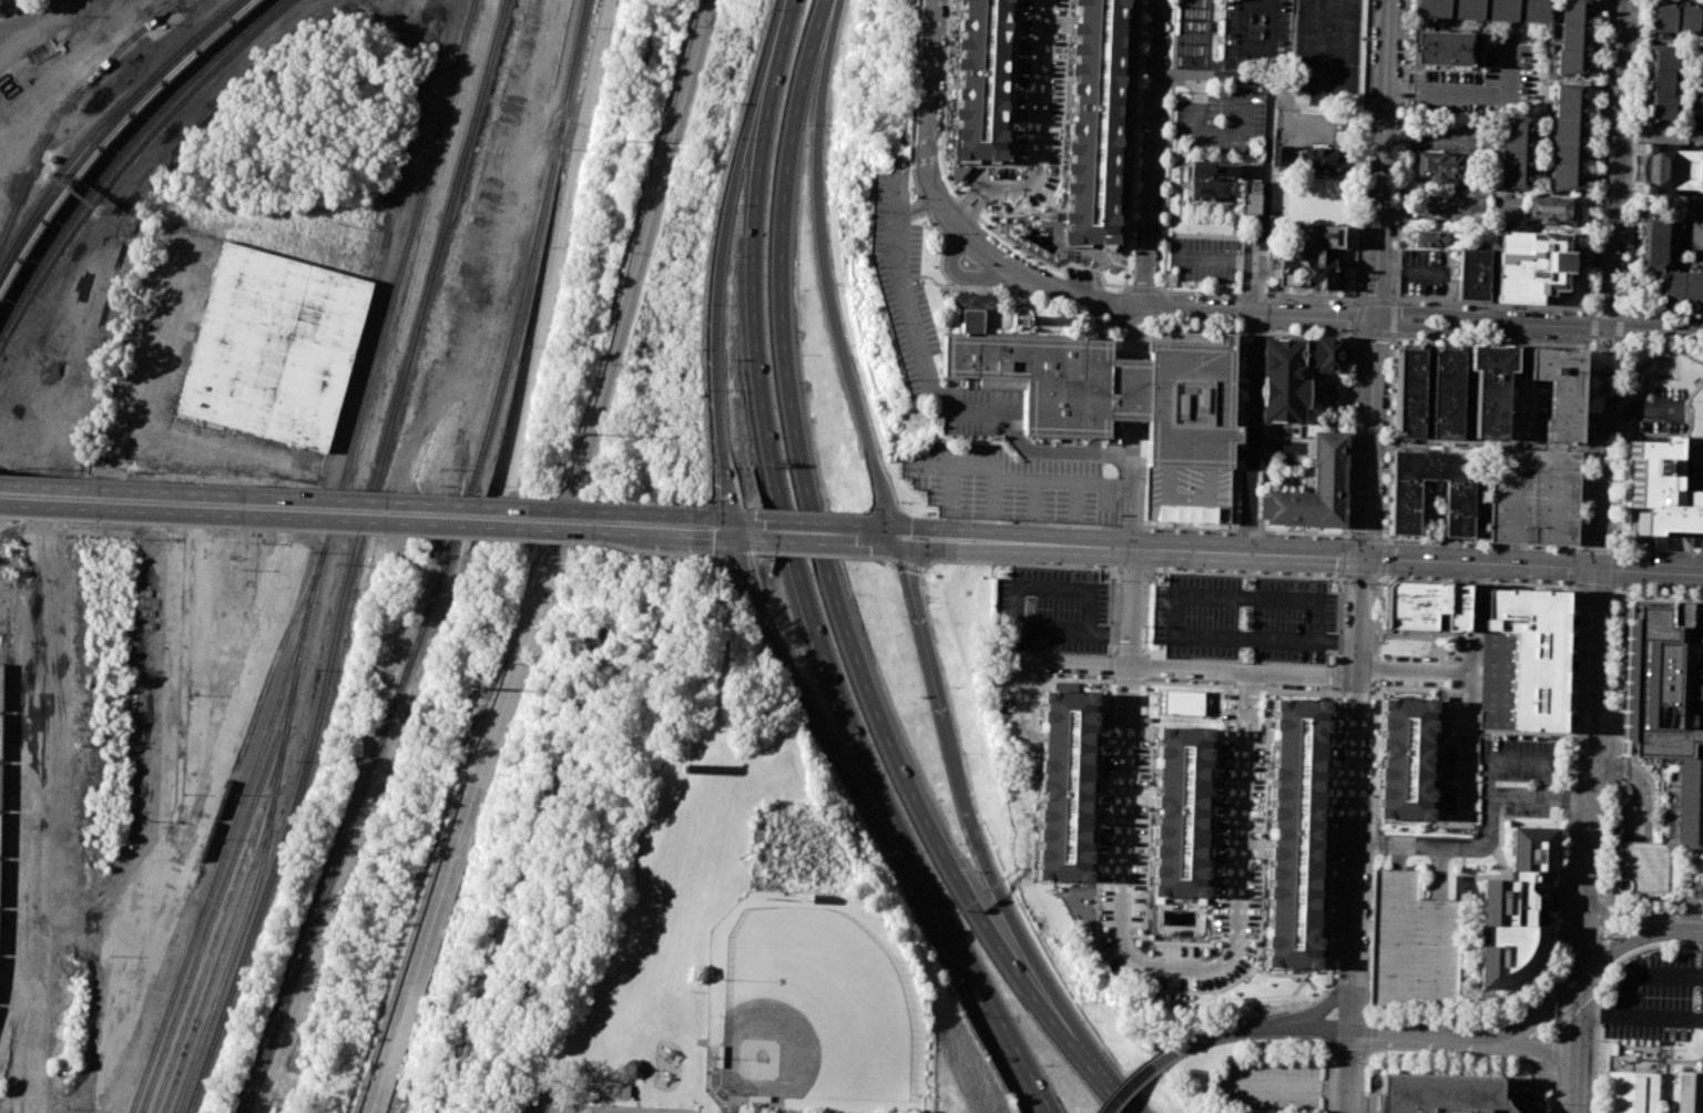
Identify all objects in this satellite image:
road: (1258, 0)
road: (1315, 0)
road: (1327, 0)
building: (1429, 9)
building: (1501, 10)
building: (1675, 18)
building: (1206, 25)
parking lot: (1256, 35)
building: (1572, 38)
road: (1254, 47)
building: (1441, 48)
parking lot: (1326, 49)
building: (980, 80)
parking lot: (1476, 82)
building: (1661, 82)
park: (880, 83)
road: (1338, 85)
road: (1469, 92)
street lamp: (1166, 93)
road: (1014, 94)
street lamp: (916, 95)
building: (1569, 101)
road: (911, 103)
railway: (68, 104)
road: (1037, 110)
railway: (96, 112)
road: (926, 118)
building: (1093, 121)
street lamp: (1165, 121)
railway: (105, 123)
parking lot: (1220, 125)
building: (1568, 130)
road: (1210, 132)
railway: (112, 133)
street lamp: (1138, 133)
building: (1515, 134)
road: (1061, 137)
power tower: (621, 140)
road: (1265, 140)
road: (1130, 146)
street lamp: (1164, 146)
railway: (119, 147)
road: (1362, 149)
street lamp: (914, 151)
road: (1151, 153)
road: (1167, 153)
building: (1567, 153)
road: (1633, 154)
building: (1277, 155)
railway: (125, 156)
street lamp: (897, 159)
building: (1320, 159)
road: (1381, 159)
building: (1437, 165)
railway: (137, 166)
street lamp: (999, 166)
building: (1672, 169)
building: (1513, 170)
street lamp: (1163, 172)
building: (1210, 177)
building: (1566, 177)
road: (968, 195)
road: (958, 196)
building: (1251, 197)
street lamp: (1162, 203)
road: (976, 206)
road: (918, 207)
street lamp: (1180, 207)
street lamp: (1231, 208)
building: (1551, 210)
street lamp: (1014, 213)
street lamp: (866, 215)
road: (1701, 225)
parking lot: (1692, 227)
road: (1610, 228)
street lamp: (1161, 232)
street lamp: (1194, 232)
street lamp: (944, 233)
road: (1040, 235)
building: (1319, 237)
road: (752, 239)
building: (1434, 239)
building: (1653, 244)
road: (1118, 245)
road: (560, 248)
road: (1395, 248)
road: (716, 254)
road: (1097, 254)
parking lot: (1206, 257)
street lamp: (1161, 259)
road: (642, 261)
road: (1119, 265)
building: (1534, 265)
street lamp: (867, 267)
road: (1091, 268)
building: (1311, 273)
road: (959, 274)
parking lot: (1428, 274)
building: (1472, 275)
parking lot: (901, 278)
road: (932, 279)
street lamp: (922, 283)
road: (1044, 284)
street lamp: (1159, 286)
road: (1143, 288)
road: (1019, 289)
street lamp: (1179, 295)
road: (1261, 295)
street lamp: (1206, 296)
street lamp: (1235, 297)
street lamp: (1278, 299)
street lamp: (1307, 300)
road: (1394, 300)
street lamp: (1339, 302)
road: (1377, 302)
road: (965, 303)
street lamp: (1053, 305)
road: (1646, 309)
road: (1260, 313)
road: (1435, 313)
road: (1359, 316)
road: (1391, 317)
street lamp: (884, 324)
street lamp: (1186, 325)
road: (1182, 326)
road: (1550, 326)
road: (1435, 327)
street lamp: (935, 330)
road: (1254, 330)
road: (1654, 330)
street lamp: (1342, 331)
road: (1373, 331)
road: (1393, 335)
road: (1394, 337)
building: (1196, 338)
building: (274, 346)
road: (1603, 346)
road: (1663, 347)
street lamp: (1355, 354)
road: (1690, 356)
building: (1293, 374)
street lamp: (900, 380)
building: (1491, 387)
road: (940, 388)
building: (1560, 389)
railway: (368, 390)
building: (1116, 390)
building: (1409, 390)
building: (1447, 391)
road: (1639, 391)
road: (1253, 407)
road: (1658, 408)
parking lot: (980, 410)
parking lot: (1665, 410)
road: (1686, 419)
road: (1349, 432)
road: (1649, 432)
power tower: (569, 435)
street lamp: (939, 435)
street lamp: (998, 437)
road: (1369, 437)
street lamp: (1352, 438)
road: (1619, 447)
street lamp: (909, 456)
flagpole: (1702, 456)
street lamp: (1114, 476)
road: (1006, 480)
parking lot: (1011, 486)
road: (1128, 488)
building: (1313, 489)
road: (1696, 489)
road: (947, 490)
building: (1661, 492)
building: (1534, 497)
parking garage: (1534, 497)
road: (294, 498)
road: (989, 498)
road: (200, 499)
road: (1593, 500)
road: (1031, 501)
road: (1605, 501)
road: (1074, 503)
road: (284, 507)
street lamp: (936, 507)
building: (1458, 507)
street lamp: (679, 508)
road: (1233, 509)
road: (1248, 509)
road: (496, 511)
street lamp: (1349, 511)
street lamp: (810, 512)
road: (641, 513)
street lamp: (29, 515)
road: (726, 517)
street lamp: (938, 517)
traffic signals: (728, 518)
street lamp: (1006, 518)
street lamp: (72, 520)
street lamp: (108, 520)
road: (344, 520)
street lamp: (1050, 520)
street lamp: (166, 522)
road: (809, 522)
road: (1031, 522)
street lamp: (227, 524)
street lamp: (287, 525)
traffic signals: (894, 525)
road: (339, 527)
road: (921, 527)
road: (1126, 527)
road: (730, 528)
street lamp: (1102, 528)
road: (1186, 529)
street lamp: (334, 530)
street lamp: (364, 530)
road: (788, 531)
street lamp: (1163, 531)
street lamp: (1186, 532)
street lamp: (1210, 532)
street lamp: (427, 533)
road: (1246, 533)
road: (1302, 533)
road: (897, 535)
street lamp: (1284, 535)
street lamp: (481, 537)
road: (710, 538)
street lamp: (1320, 538)
street lamp: (532, 539)
traffic signals: (731, 539)
road: (747, 539)
road: (1345, 539)
road: (1383, 539)
road: (1661, 541)
street lamp: (575, 542)
road: (815, 542)
street lamp: (599, 543)
street lamp: (1581, 543)
road: (883, 545)
traffic signals: (900, 547)
road: (941, 548)
road: (1172, 549)
road: (1579, 549)
road: (751, 551)
road: (1659, 551)
road: (1639, 552)
road: (817, 553)
road: (1682, 553)
street lamp: (655, 554)
road: (707, 555)
street lamp: (683, 556)
road: (1595, 556)
street lamp: (755, 558)
road: (879, 558)
traffic signals: (1364, 558)
road: (1383, 558)
railway: (355, 559)
road: (1017, 561)
street lamp: (1031, 562)
street lamp: (886, 563)
road: (907, 563)
road: (1479, 563)
railway: (443, 564)
road: (1131, 568)
street lamp: (1174, 568)
traffic signals: (1595, 569)
road: (1246, 571)
road: (1649, 571)
street lamp: (1336, 574)
road: (1362, 578)
road: (1437, 581)
street lamp: (1487, 582)
street lamp: (1119, 583)
street lamp: (1376, 584)
street lamp: (1620, 590)
street lamp: (1628, 591)
street lamp: (1654, 591)
street lamp: (1684, 593)
street lamp: (853, 594)
street lamp: (1571, 596)
road: (1267, 599)
street lamp: (926, 601)
street lamp: (1610, 602)
road: (1689, 603)
building: (1424, 604)
road: (1111, 607)
street lamp: (1051, 609)
parking lot: (1051, 610)
road: (1087, 610)
road: (1146, 611)
road: (1175, 615)
parking lot: (1245, 617)
road: (1339, 617)
road: (1469, 620)
road: (1017, 630)
street lamp: (1609, 631)
road: (922, 636)
road: (1267, 640)
road: (1128, 649)
road: (1110, 650)
building: (1531, 653)
street lamp: (1609, 660)
road: (1033, 664)
road: (1109, 666)
road: (1377, 667)
road: (1302, 673)
road: (1049, 677)
road: (1337, 677)
road: (1128, 682)
road: (1189, 683)
building: (1661, 684)
road: (1250, 686)
power tower: (470, 687)
street lamp: (1608, 691)
road: (1302, 693)
road: (1356, 694)
road: (1468, 695)
building: (1226, 698)
street lamp: (1033, 703)
building: (1183, 704)
railway: (258, 707)
street lamp: (1113, 713)
railway: (1, 726)
road: (1590, 731)
road: (1125, 741)
street lamp: (963, 752)
road: (1607, 756)
building: (1405, 762)
road: (1608, 762)
railway: (274, 774)
road: (1639, 783)
road: (855, 784)
building: (1067, 787)
road: (1539, 794)
parking lot: (1524, 801)
street lamp: (1095, 803)
building: (1691, 803)
road: (888, 805)
street lamp: (1603, 805)
building: (1181, 813)
road: (1628, 813)
road: (1648, 814)
road: (465, 816)
road: (1240, 819)
road: (1332, 824)
railway: (1672, 828)
building: (1296, 835)
road: (1356, 835)
street lamp: (1602, 835)
road: (1605, 838)
street lamp: (959, 844)
road: (1449, 847)
road: (1369, 848)
railway: (232, 865)
street lamp: (1601, 865)
street lamp: (1563, 867)
park: (661, 875)
road: (996, 882)
railway: (242, 896)
road: (1561, 900)
street lamp: (1614, 905)
street lamp: (1014, 906)
street lamp: (1643, 906)
street lamp: (1672, 908)
street lamp: (1701, 909)
building: (1515, 910)
road: (1602, 913)
road: (1626, 913)
road: (1602, 926)
road: (1686, 931)
road: (1585, 935)
road: (1119, 936)
road: (1171, 941)
road: (1622, 943)
building: (1415, 944)
parking garage: (1415, 944)
railway: (191, 946)
railway: (235, 947)
road: (1645, 947)
railway: (206, 966)
road: (1601, 974)
road: (1559, 976)
traffic signals: (1584, 976)
street lamp: (1598, 982)
road: (1630, 982)
road: (1173, 990)
street lamp: (1320, 995)
parking lot: (1652, 999)
road: (1414, 1000)
park: (810, 1010)
road: (1314, 1010)
street lamp: (1082, 1017)
road: (1662, 1017)
street lamp: (1458, 1023)
road: (1558, 1024)
road: (1261, 1031)
road: (1476, 1035)
street lamp: (1319, 1039)
road: (1580, 1044)
road: (1597, 1045)
road: (1537, 1046)
road: (1430, 1058)
street lamp: (1327, 1059)
road: (1680, 1060)
road: (1327, 1064)
road: (1668, 1064)
road: (1027, 1065)
building: (632, 1069)
road: (1553, 1073)
road: (1139, 1080)
road: (550, 1084)
road: (1289, 1085)
parking lot: (1272, 1086)
road: (631, 1088)
building: (1631, 1092)
building: (1687, 1092)
building: (1439, 1093)
road: (633, 1097)
road: (640, 1107)

